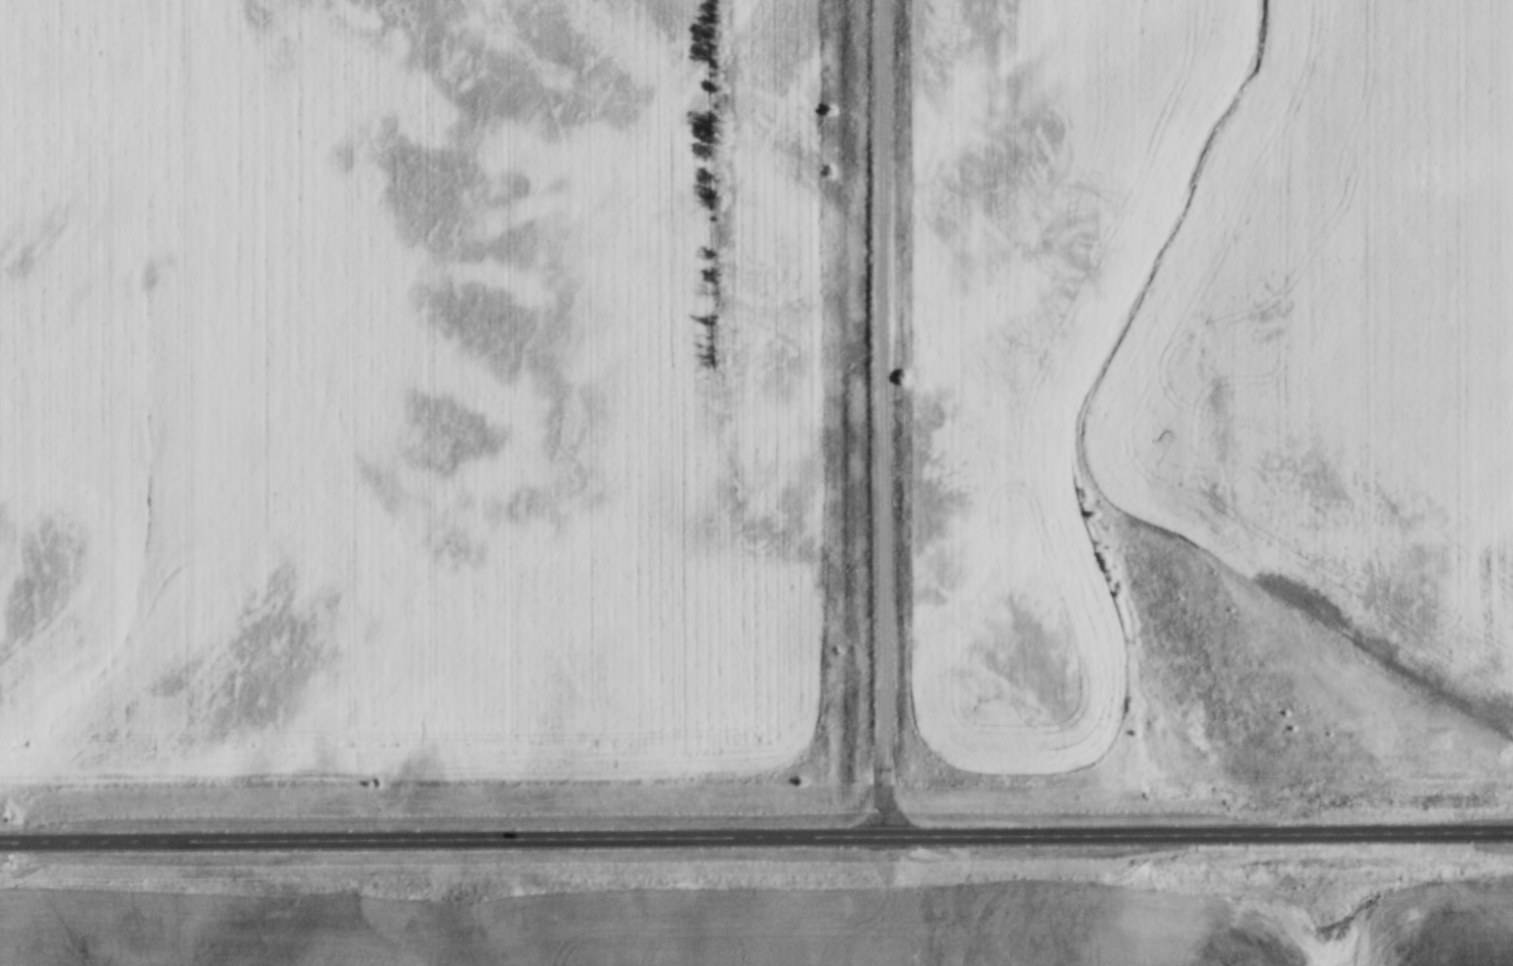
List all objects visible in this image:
road: (882, 416)
road: (756, 833)
road: (902, 897)

